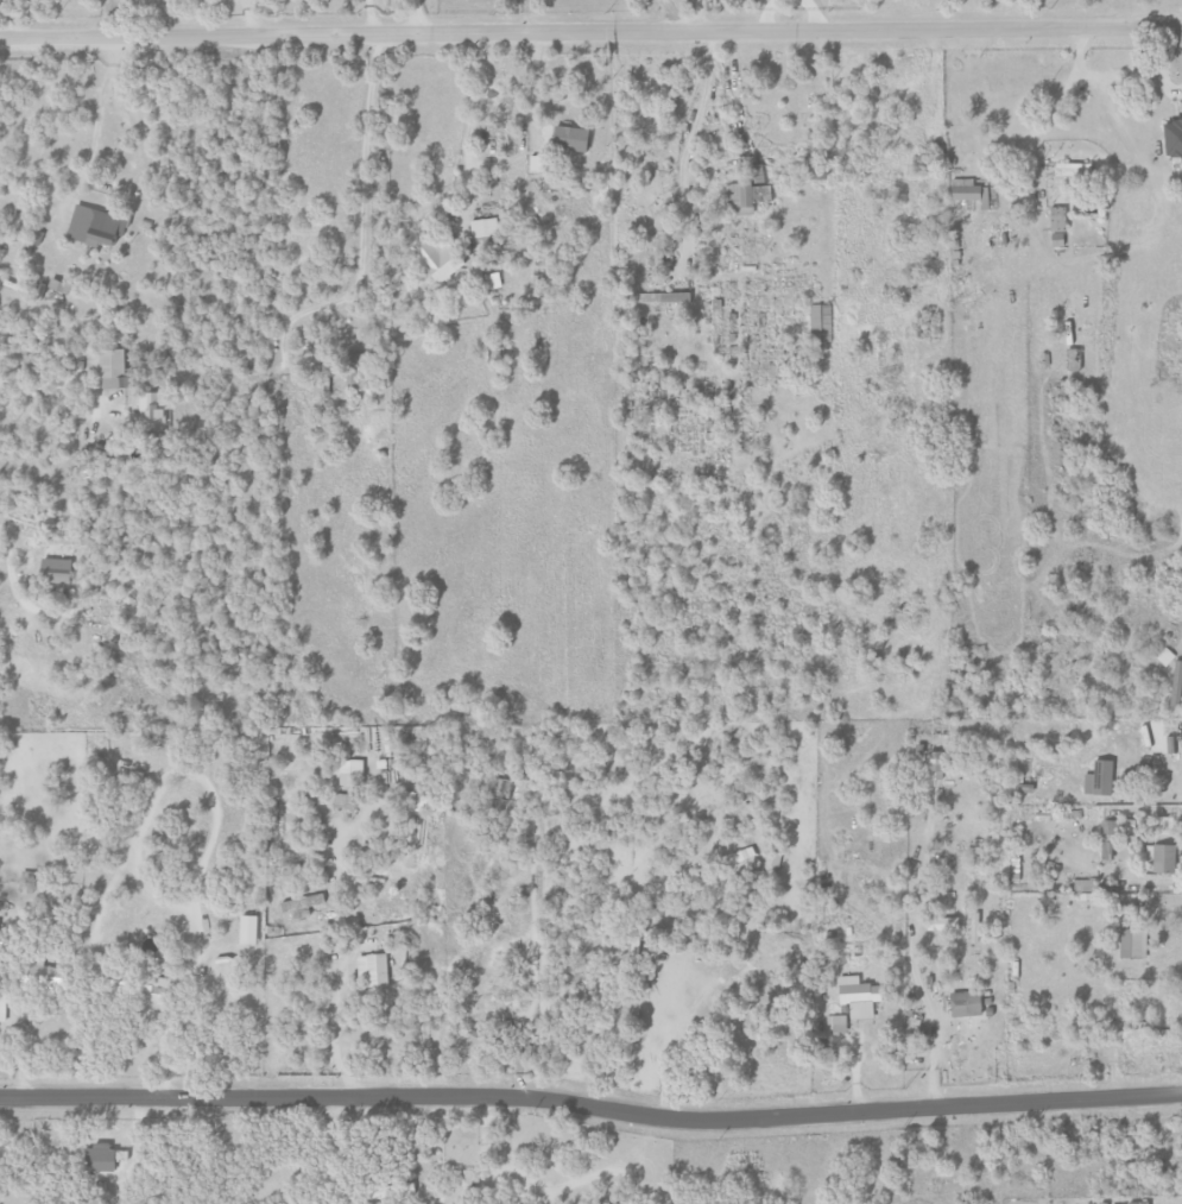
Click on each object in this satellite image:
road: (108, 2)
road: (676, 15)
road: (702, 15)
road: (368, 17)
road: (526, 17)
road: (106, 19)
road: (590, 32)
road: (533, 86)
road: (100, 106)
road: (695, 122)
road: (1037, 128)
road: (470, 130)
building: (568, 138)
building: (1171, 138)
building: (931, 141)
building: (537, 163)
building: (1072, 170)
building: (968, 191)
building: (746, 197)
road: (362, 215)
building: (91, 225)
building: (1056, 226)
building: (483, 227)
building: (436, 256)
building: (492, 279)
building: (52, 289)
building: (662, 297)
building: (1072, 359)
building: (110, 368)
building: (360, 370)
building: (321, 379)
road: (58, 385)
building: (151, 408)
building: (52, 571)
road: (14, 578)
building: (1176, 683)
building: (1155, 744)
building: (934, 765)
building: (348, 771)
building: (1098, 778)
road: (1158, 798)
road: (211, 839)
building: (1159, 857)
road: (1153, 881)
building: (302, 906)
road: (1152, 909)
building: (246, 929)
building: (1126, 943)
road: (346, 969)
building: (371, 970)
building: (44, 975)
building: (153, 988)
building: (857, 997)
building: (962, 1003)
building: (836, 1023)
road: (934, 1028)
building: (489, 1045)
road: (590, 1107)
building: (407, 1187)
building: (1136, 1203)

